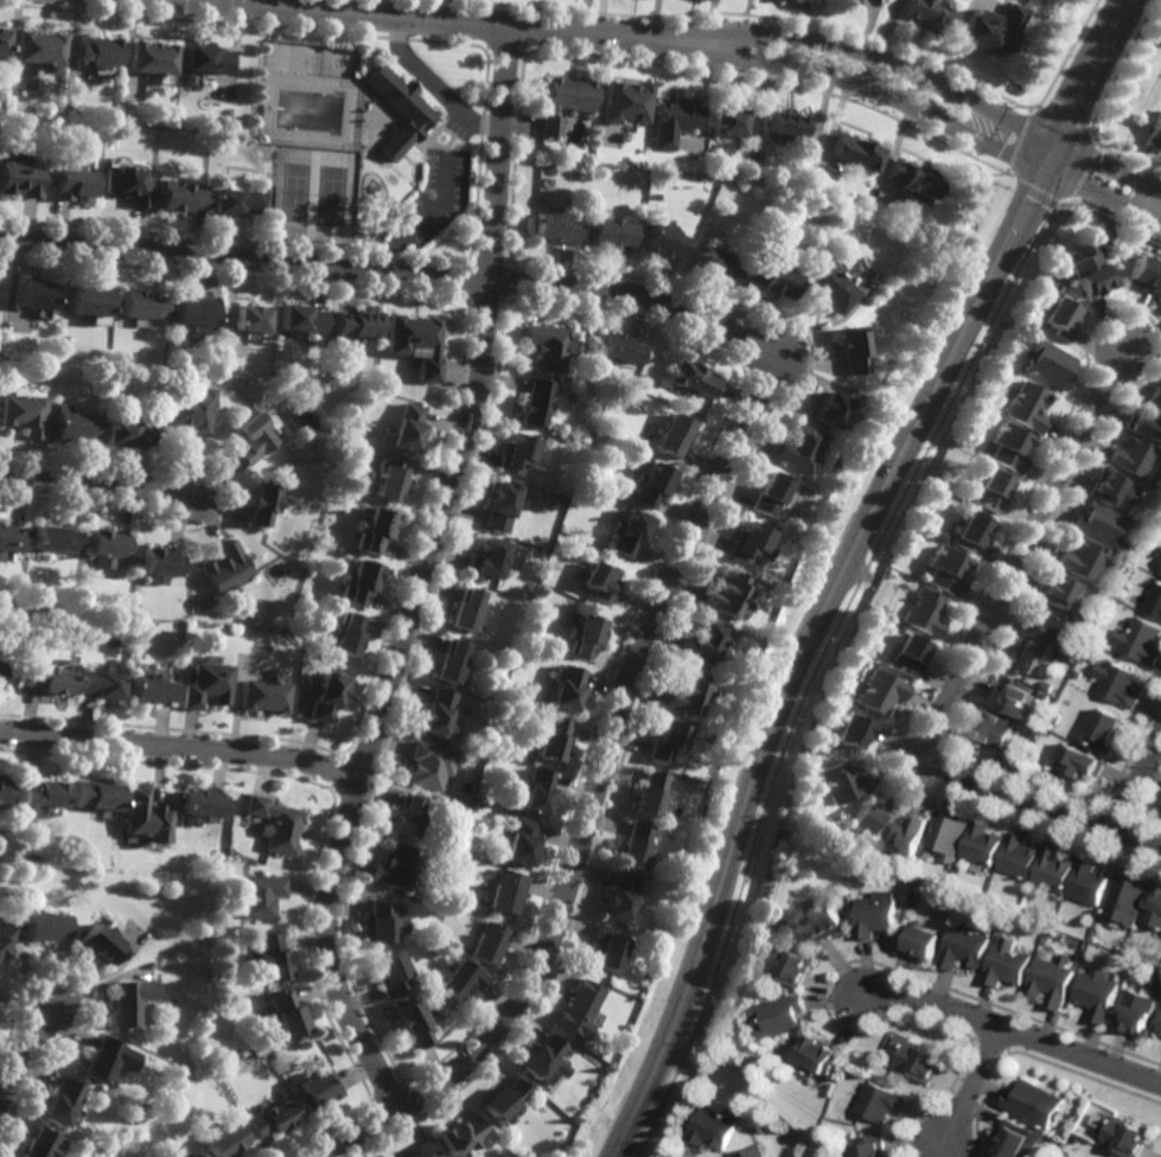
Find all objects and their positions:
building: (790, 0)
building: (811, 0)
building: (854, 1)
building: (930, 15)
road: (433, 20)
building: (994, 30)
building: (0, 36)
building: (37, 49)
building: (97, 51)
road: (867, 51)
building: (152, 56)
building: (204, 58)
road: (857, 82)
road: (434, 84)
building: (564, 101)
building: (627, 102)
road: (365, 108)
building: (397, 109)
building: (677, 121)
building: (731, 121)
building: (791, 124)
parking lot: (454, 127)
building: (1154, 133)
building: (859, 152)
road: (1110, 166)
building: (19, 179)
building: (914, 179)
building: (70, 184)
building: (126, 185)
park: (293, 192)
park: (330, 194)
parking lot: (415, 194)
road: (1103, 194)
building: (178, 197)
building: (228, 199)
parking lot: (455, 200)
road: (426, 216)
building: (555, 228)
building: (607, 232)
building: (833, 236)
building: (662, 241)
building: (715, 267)
building: (1087, 271)
building: (1144, 275)
building: (1061, 277)
building: (768, 279)
building: (1055, 287)
building: (827, 288)
building: (30, 295)
building: (85, 303)
building: (138, 306)
building: (190, 313)
building: (1059, 317)
building: (241, 319)
building: (293, 320)
building: (349, 325)
building: (412, 343)
building: (546, 347)
building: (615, 349)
building: (848, 351)
building: (1047, 365)
building: (690, 378)
building: (1156, 397)
building: (534, 404)
building: (1025, 407)
building: (824, 410)
building: (189, 411)
building: (21, 413)
building: (1146, 426)
building: (71, 428)
building: (402, 430)
building: (126, 435)
road: (740, 435)
building: (253, 437)
building: (670, 439)
building: (1006, 447)
building: (796, 449)
building: (515, 455)
building: (1131, 458)
building: (1154, 478)
road: (93, 482)
building: (385, 482)
building: (646, 486)
building: (1112, 490)
building: (990, 492)
building: (765, 496)
building: (257, 506)
building: (498, 507)
building: (1098, 524)
building: (369, 533)
building: (969, 533)
building: (623, 536)
building: (55, 542)
building: (11, 543)
building: (746, 545)
building: (108, 550)
building: (485, 561)
building: (1083, 562)
road: (843, 565)
building: (160, 568)
building: (224, 570)
building: (944, 571)
road: (420, 578)
building: (595, 584)
building: (353, 587)
building: (1060, 593)
building: (722, 596)
building: (1154, 602)
building: (464, 612)
building: (923, 614)
building: (1045, 629)
building: (342, 639)
building: (578, 640)
building: (1141, 643)
building: (701, 645)
building: (1061, 650)
building: (910, 658)
building: (1022, 658)
road: (968, 659)
building: (449, 661)
building: (6, 675)
building: (1079, 676)
building: (47, 679)
building: (102, 680)
building: (209, 682)
building: (153, 685)
building: (1119, 685)
building: (562, 686)
building: (1047, 686)
building: (881, 691)
building: (263, 692)
building: (321, 692)
building: (682, 692)
building: (1012, 697)
building: (1042, 697)
building: (434, 710)
building: (1057, 718)
building: (991, 725)
building: (452, 728)
building: (853, 728)
building: (1108, 730)
building: (1036, 733)
building: (548, 736)
building: (664, 737)
road: (180, 746)
building: (1085, 759)
building: (427, 763)
building: (843, 781)
building: (701, 782)
road: (1138, 786)
building: (5, 788)
building: (532, 788)
building: (646, 791)
building: (43, 792)
building: (97, 793)
building: (205, 803)
building: (0, 805)
building: (403, 814)
building: (148, 816)
building: (869, 819)
building: (275, 823)
building: (913, 831)
building: (948, 833)
building: (1, 836)
building: (517, 840)
building: (633, 842)
building: (984, 844)
building: (1021, 855)
building: (391, 865)
building: (1058, 868)
building: (945, 877)
building: (857, 881)
building: (1092, 881)
building: (963, 887)
building: (503, 889)
building: (262, 895)
building: (620, 895)
building: (1128, 900)
building: (1154, 906)
building: (878, 913)
building: (825, 921)
building: (377, 922)
building: (46, 925)
building: (778, 925)
building: (6, 937)
building: (484, 941)
building: (920, 941)
building: (101, 942)
building: (607, 946)
building: (967, 947)
building: (270, 957)
building: (789, 963)
building: (1009, 963)
building: (388, 973)
building: (1055, 980)
building: (455, 982)
building: (1099, 993)
building: (128, 1001)
building: (580, 1008)
building: (1137, 1011)
building: (285, 1014)
building: (784, 1016)
building: (408, 1022)
road: (1016, 1033)
building: (1160, 1033)
road: (25, 1048)
building: (821, 1056)
building: (100, 1059)
building: (542, 1060)
building: (923, 1060)
road: (972, 1087)
building: (317, 1088)
building: (505, 1100)
building: (882, 1101)
building: (59, 1102)
building: (1039, 1102)
building: (272, 1118)
building: (715, 1127)
building: (463, 1136)
building: (1128, 1137)
building: (1016, 1140)
building: (225, 1142)
building: (36, 1144)
building: (874, 1146)
building: (421, 1150)
building: (183, 1152)
building: (754, 1152)
building: (1114, 1156)

